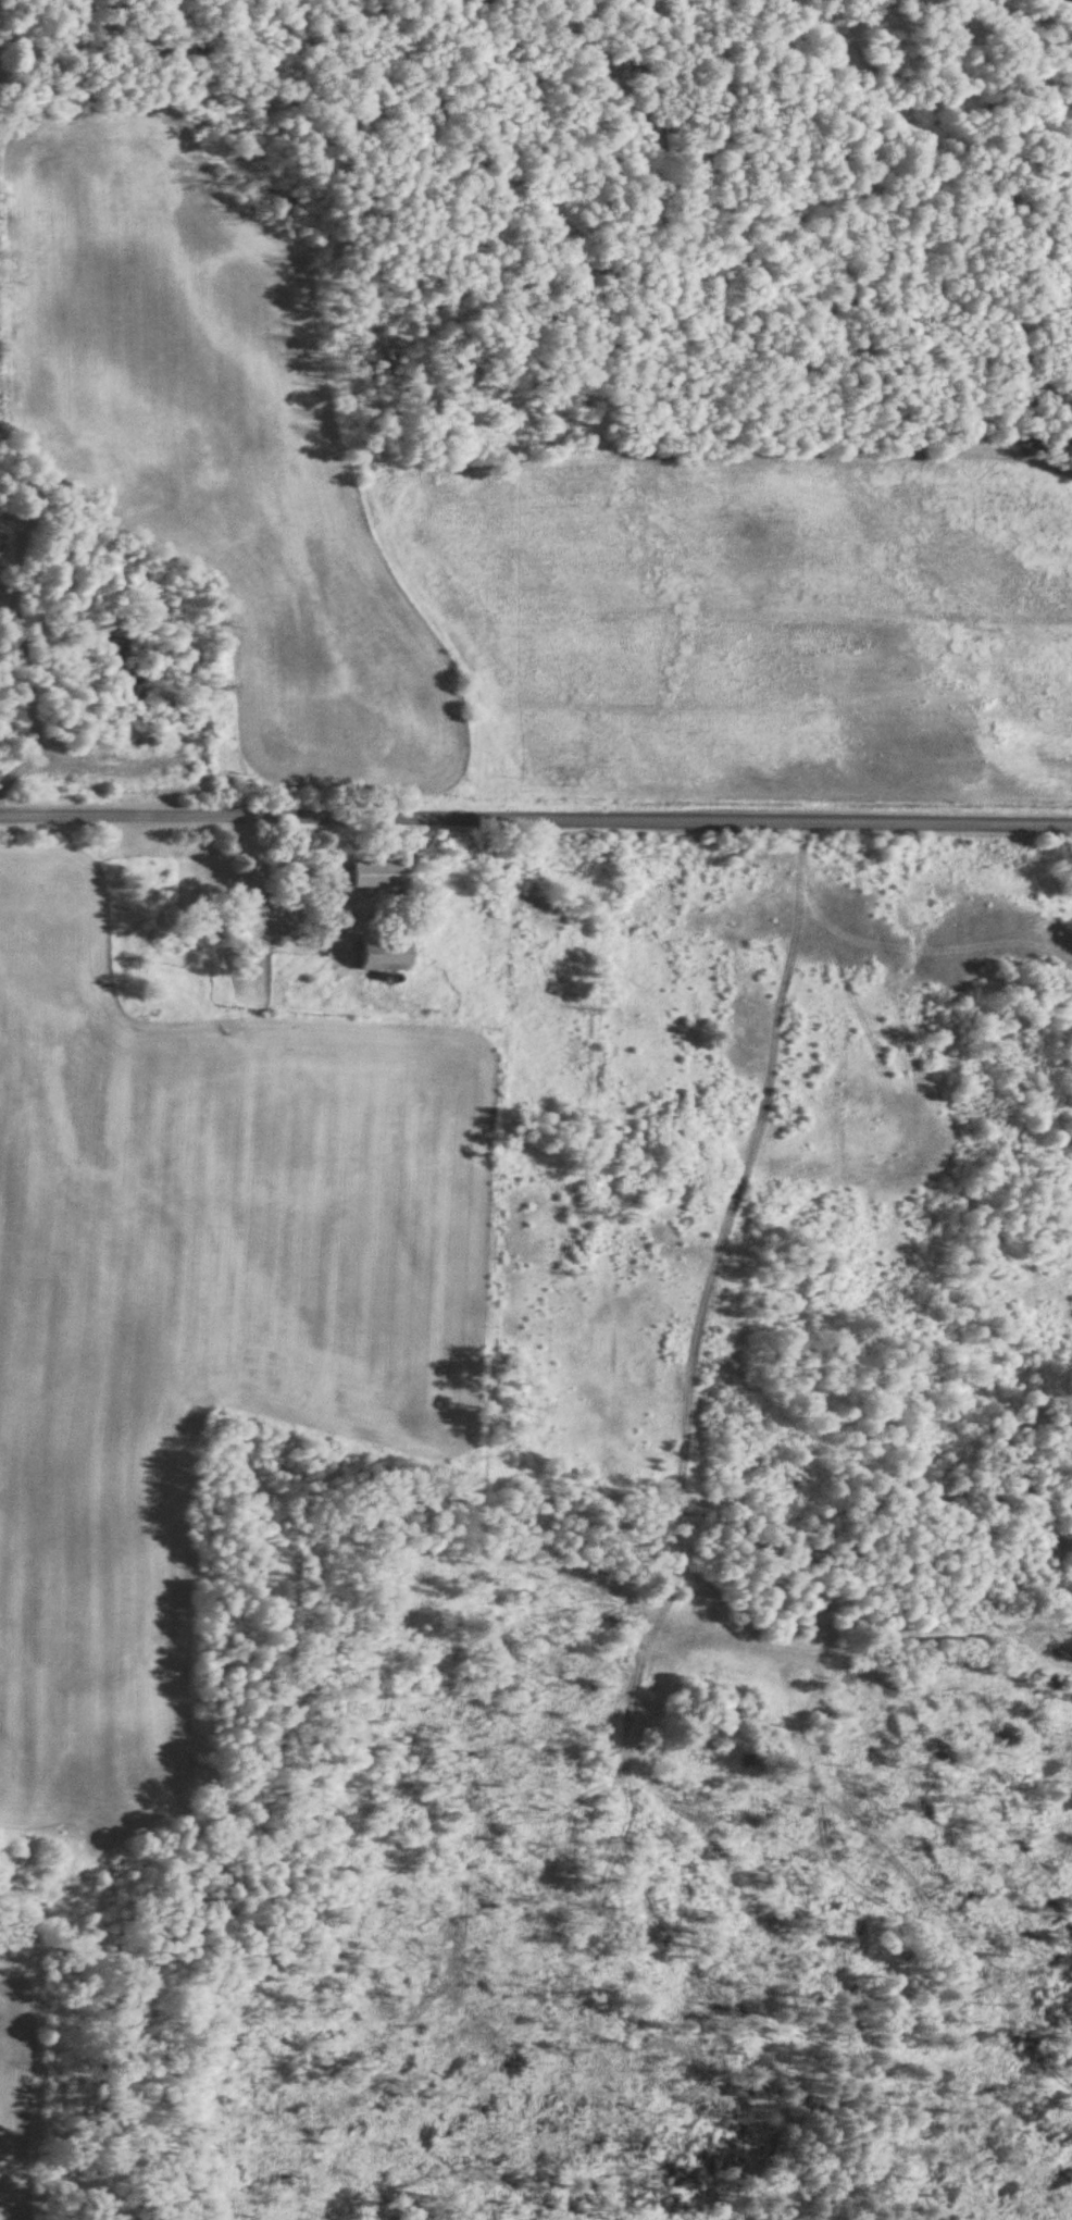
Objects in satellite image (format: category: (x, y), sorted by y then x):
road: (536, 808)
building: (379, 875)
building: (249, 893)
building: (383, 955)

